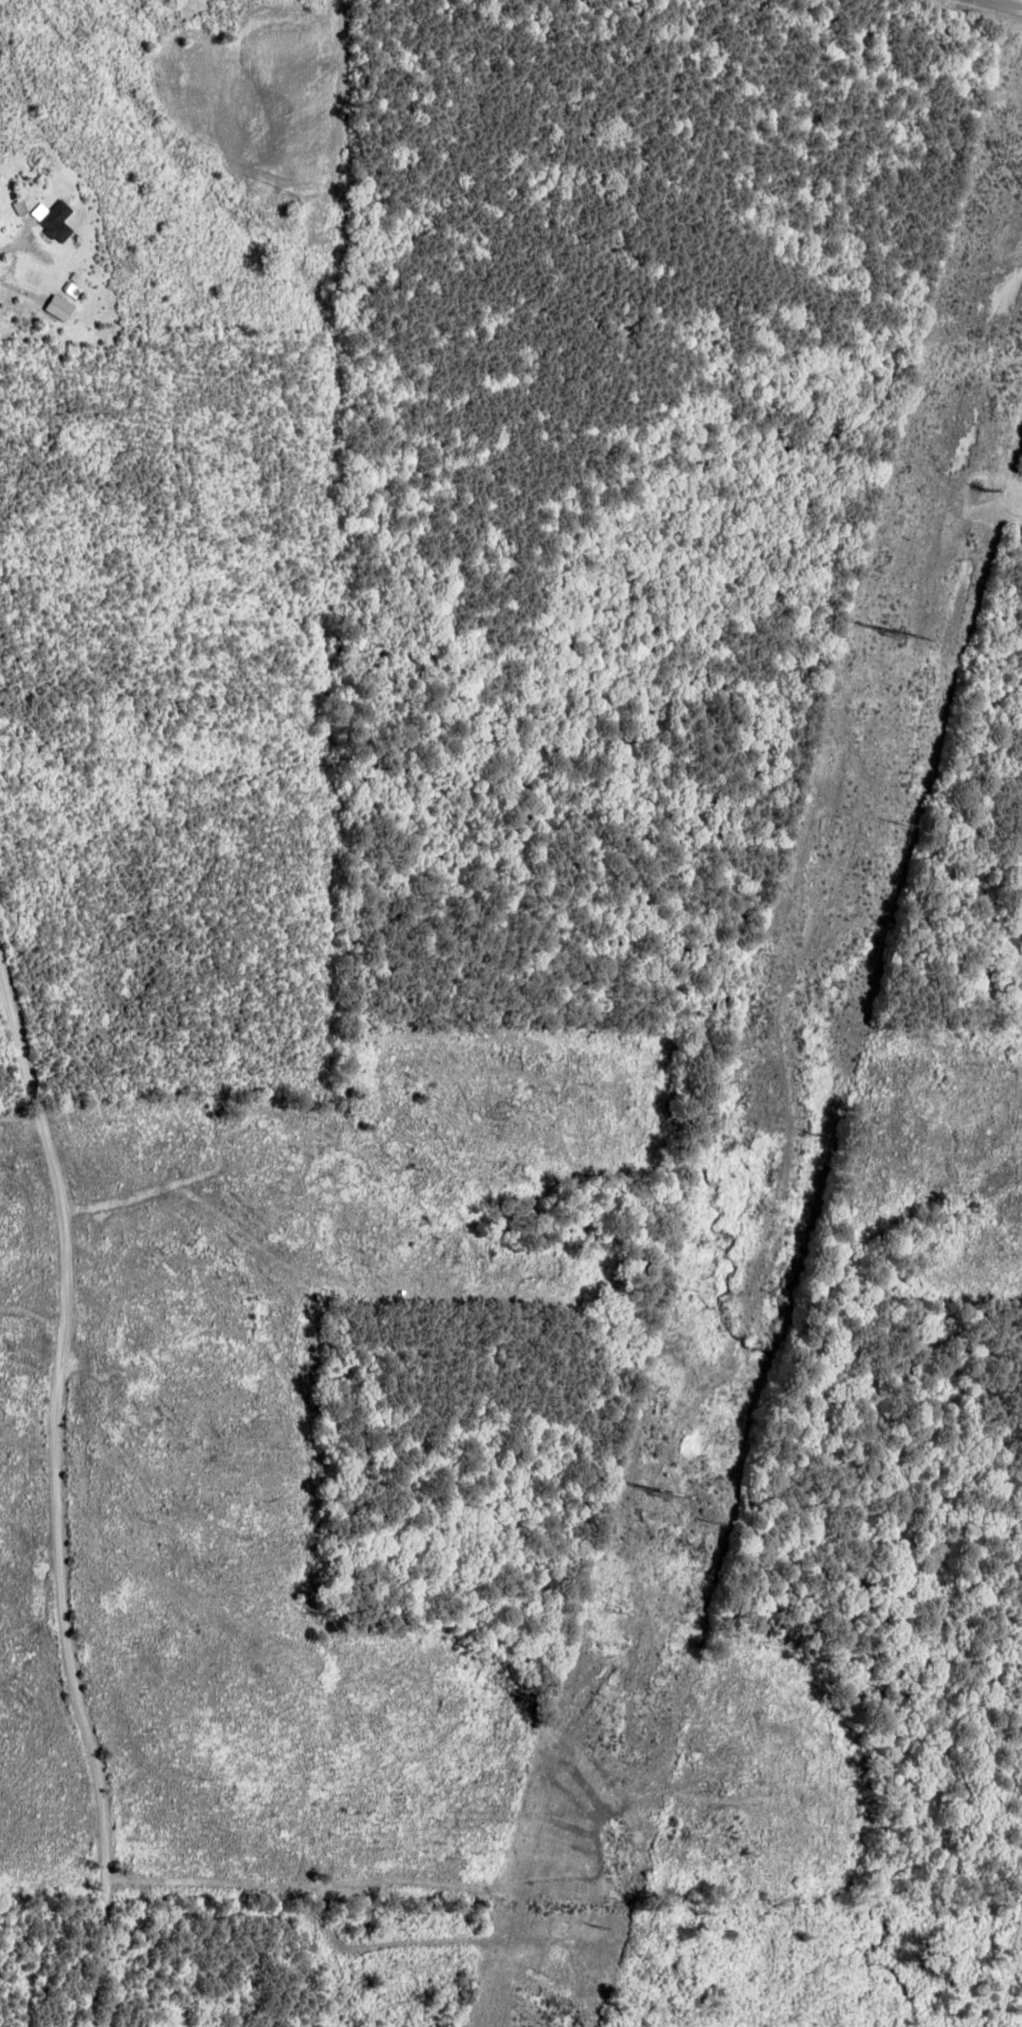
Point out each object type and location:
road: (985, 19)
building: (53, 219)
building: (60, 308)
power tower: (890, 633)
power tower: (655, 1494)
road: (67, 1525)

